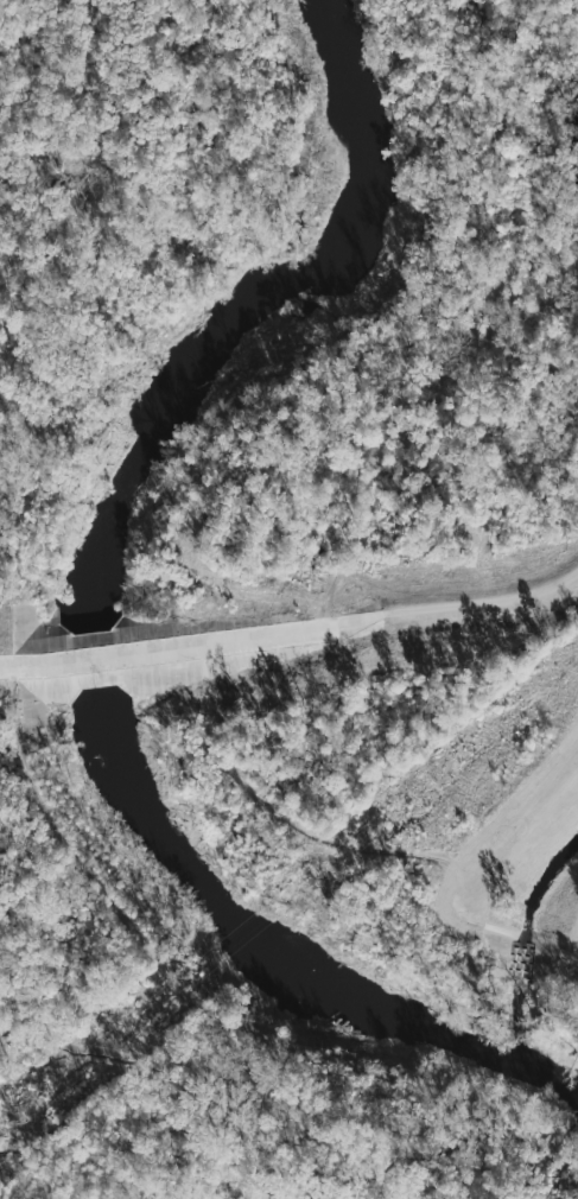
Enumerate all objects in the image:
road: (485, 603)
river: (106, 609)
road: (196, 649)
power tower: (436, 780)
road: (141, 935)
river: (521, 938)
road: (501, 1108)
power tower: (25, 1115)

